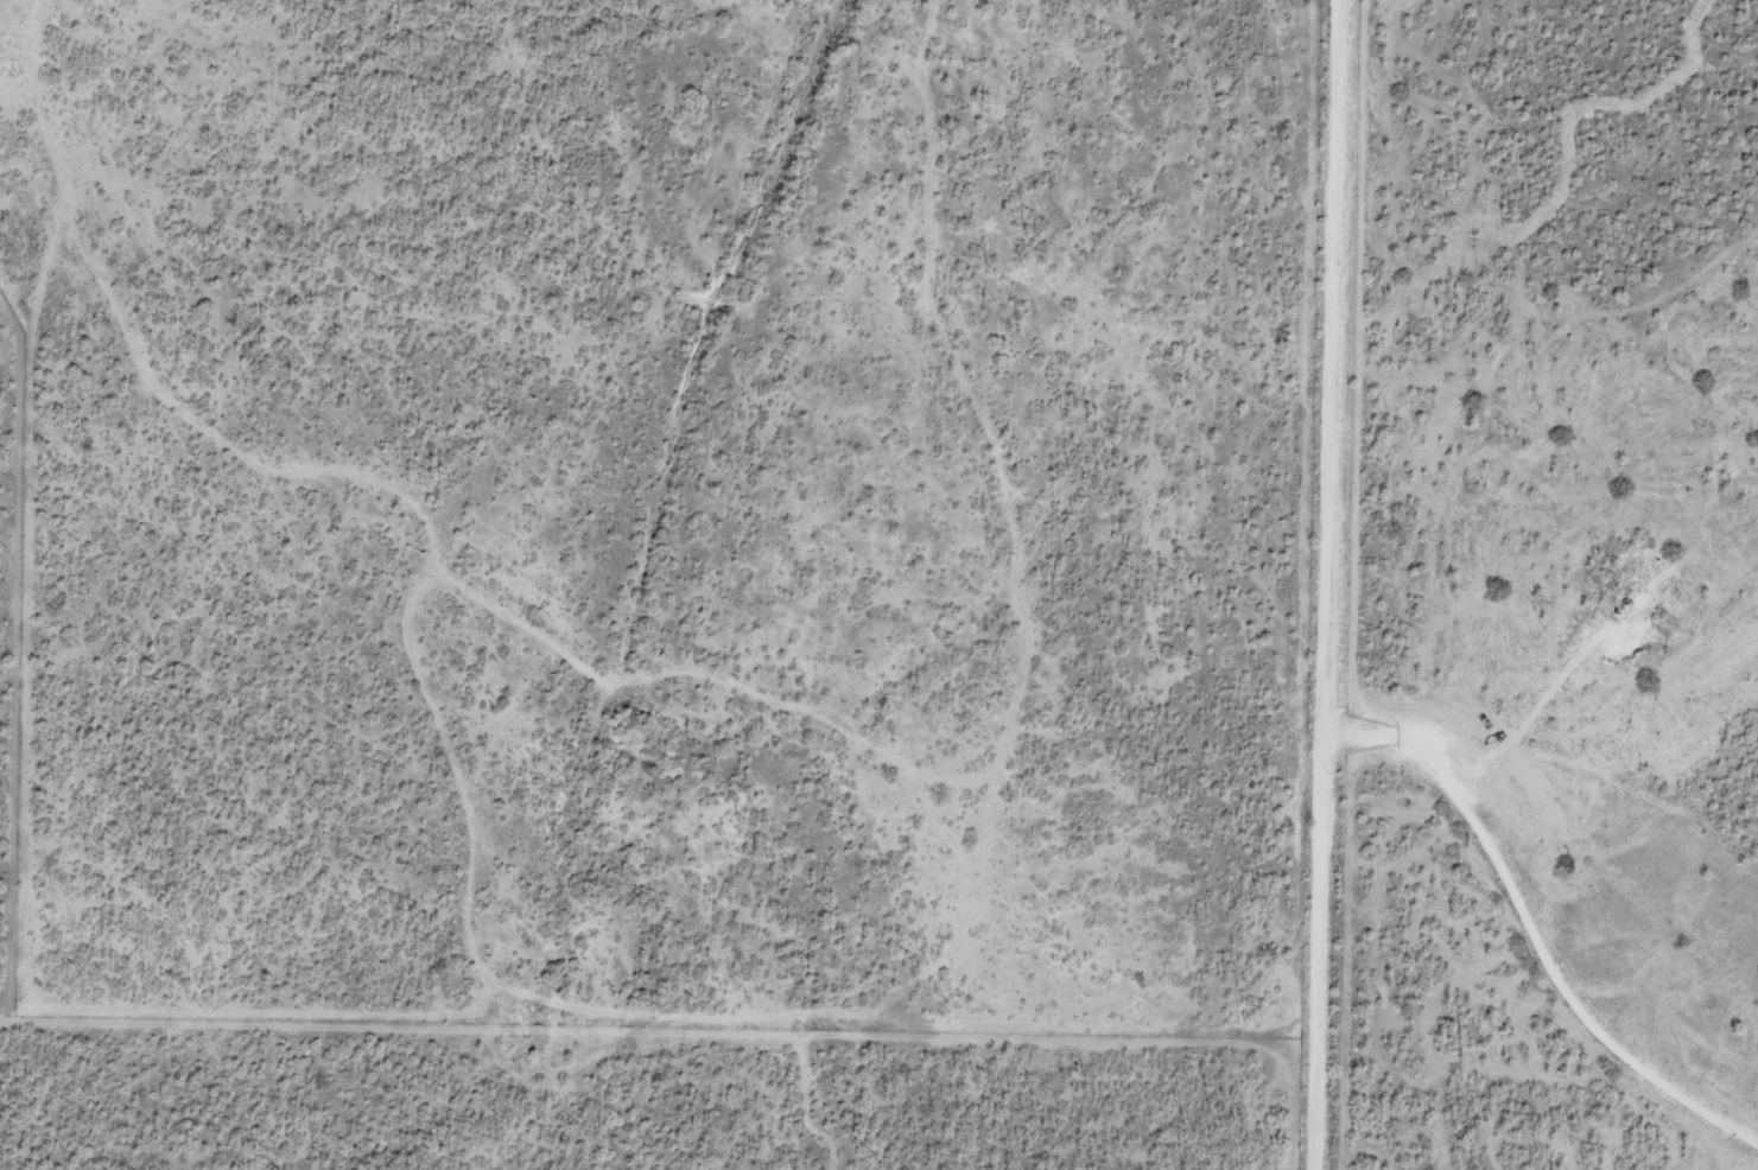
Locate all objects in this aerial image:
road: (1327, 584)

